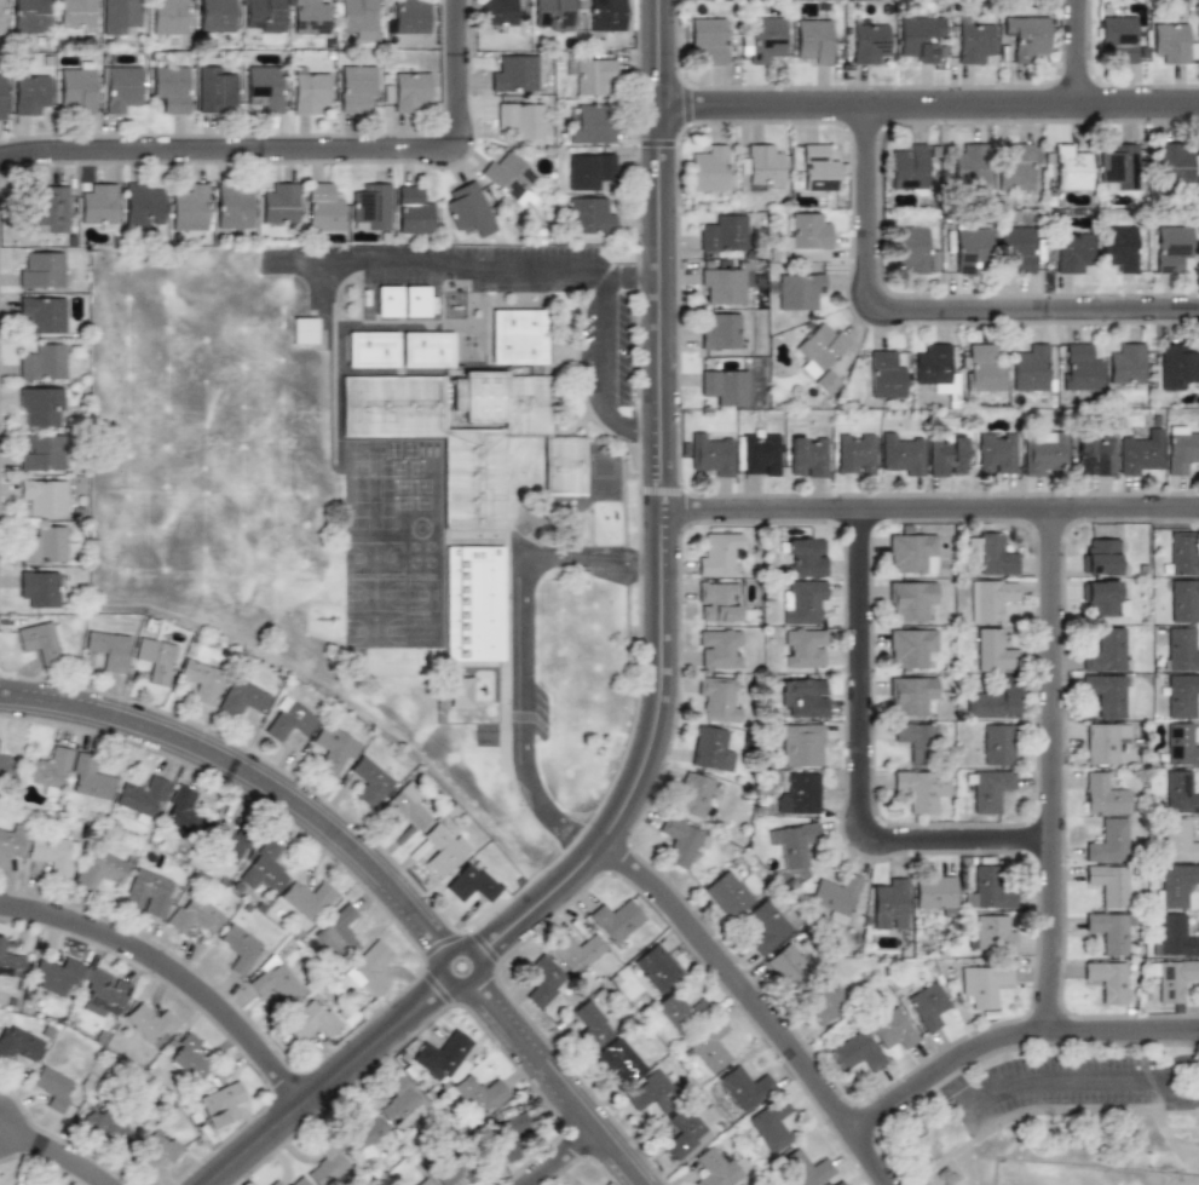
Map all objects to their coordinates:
building: (76, 15)
building: (498, 15)
building: (552, 15)
building: (29, 16)
building: (119, 16)
building: (169, 16)
building: (215, 16)
building: (263, 16)
building: (410, 16)
building: (604, 16)
building: (1, 17)
building: (310, 17)
building: (357, 19)
building: (917, 36)
building: (1026, 36)
building: (1117, 38)
building: (708, 39)
building: (765, 39)
building: (812, 40)
building: (970, 40)
building: (867, 41)
building: (1168, 42)
road: (1072, 53)
building: (590, 73)
building: (514, 74)
building: (264, 86)
building: (76, 87)
building: (119, 87)
building: (169, 87)
building: (356, 87)
building: (214, 88)
building: (309, 90)
building: (410, 91)
building: (28, 92)
building: (2, 96)
road: (927, 107)
building: (520, 120)
building: (589, 122)
road: (300, 153)
building: (1171, 162)
building: (968, 163)
building: (1198, 165)
building: (762, 166)
building: (1015, 166)
building: (1067, 166)
building: (818, 167)
building: (1116, 167)
building: (709, 168)
building: (906, 168)
building: (589, 169)
building: (509, 177)
building: (281, 202)
building: (143, 205)
building: (234, 205)
building: (99, 206)
building: (370, 206)
building: (190, 207)
building: (324, 207)
building: (467, 208)
building: (50, 211)
building: (413, 211)
building: (589, 215)
building: (724, 234)
building: (803, 236)
building: (968, 246)
building: (1117, 247)
building: (1170, 247)
building: (907, 248)
building: (1015, 249)
building: (1070, 251)
building: (1198, 253)
road: (443, 266)
building: (40, 269)
road: (629, 271)
road: (328, 283)
building: (725, 284)
building: (794, 289)
building: (388, 300)
building: (420, 300)
road: (935, 307)
building: (42, 313)
building: (304, 330)
building: (720, 332)
building: (518, 335)
road: (598, 346)
building: (373, 347)
building: (817, 347)
building: (427, 349)
building: (42, 362)
building: (930, 364)
building: (1124, 364)
building: (1174, 367)
building: (1027, 368)
building: (1077, 368)
building: (978, 369)
building: (883, 375)
building: (824, 381)
building: (724, 386)
building: (40, 407)
road: (629, 427)
building: (467, 433)
building: (1180, 449)
building: (1042, 451)
building: (41, 453)
building: (710, 454)
building: (759, 454)
building: (854, 454)
building: (900, 454)
building: (995, 454)
building: (1140, 454)
building: (807, 455)
building: (945, 455)
building: (1093, 455)
building: (42, 496)
road: (929, 506)
building: (44, 545)
building: (912, 553)
building: (990, 553)
building: (1181, 553)
building: (719, 554)
building: (1099, 556)
building: (805, 557)
building: (38, 588)
building: (910, 599)
building: (990, 599)
building: (1102, 599)
building: (1181, 599)
building: (717, 602)
building: (802, 602)
building: (473, 603)
building: (40, 640)
building: (910, 648)
building: (108, 649)
building: (719, 649)
building: (803, 649)
building: (1106, 649)
building: (1178, 649)
building: (991, 650)
road: (521, 652)
building: (155, 660)
building: (201, 680)
road: (661, 680)
building: (460, 691)
building: (1103, 694)
building: (910, 695)
building: (1180, 695)
building: (802, 696)
building: (243, 698)
building: (715, 698)
building: (995, 698)
building: (288, 720)
building: (1101, 741)
building: (918, 742)
building: (801, 743)
building: (996, 744)
building: (1178, 744)
building: (710, 748)
building: (334, 749)
road: (858, 763)
building: (5, 765)
road: (1048, 770)
building: (46, 771)
building: (88, 777)
building: (369, 781)
building: (988, 789)
building: (918, 790)
building: (1177, 792)
building: (693, 794)
building: (800, 794)
building: (1102, 794)
building: (142, 798)
building: (180, 809)
building: (408, 810)
building: (1176, 840)
building: (12, 841)
building: (225, 841)
building: (681, 841)
building: (1108, 841)
building: (794, 842)
building: (443, 847)
building: (53, 855)
road: (371, 867)
building: (264, 868)
building: (100, 869)
building: (471, 884)
building: (1108, 884)
building: (1172, 885)
building: (987, 890)
building: (148, 892)
building: (727, 893)
building: (934, 893)
building: (835, 894)
building: (307, 898)
building: (888, 904)
building: (194, 916)
building: (615, 920)
building: (766, 926)
building: (335, 932)
building: (991, 932)
building: (1108, 932)
building: (1172, 936)
building: (238, 948)
building: (576, 951)
building: (11, 961)
building: (656, 966)
building: (786, 966)
building: (370, 968)
building: (54, 976)
road: (178, 980)
building: (1108, 980)
building: (1172, 980)
building: (273, 982)
building: (542, 983)
building: (982, 984)
building: (104, 990)
building: (825, 1000)
road: (760, 1001)
building: (927, 1006)
building: (679, 1009)
building: (151, 1020)
building: (311, 1022)
building: (589, 1025)
building: (892, 1029)
road: (1011, 1037)
building: (17, 1043)
building: (709, 1046)
building: (855, 1052)
building: (442, 1054)
building: (188, 1057)
building: (617, 1058)
road: (1049, 1080)
building: (744, 1086)
building: (53, 1088)
building: (652, 1094)
building: (479, 1095)
building: (398, 1100)
building: (219, 1103)
park: (1048, 1115)
building: (103, 1122)
building: (771, 1124)
building: (365, 1133)
building: (684, 1134)
building: (506, 1137)
building: (156, 1149)
road: (52, 1157)
road: (576, 1161)
building: (325, 1164)
building: (715, 1167)
building: (803, 1167)
building: (449, 1169)
building: (298, 1181)
building: (425, 1181)
building: (19, 1183)
building: (275, 1183)
building: (837, 1183)

